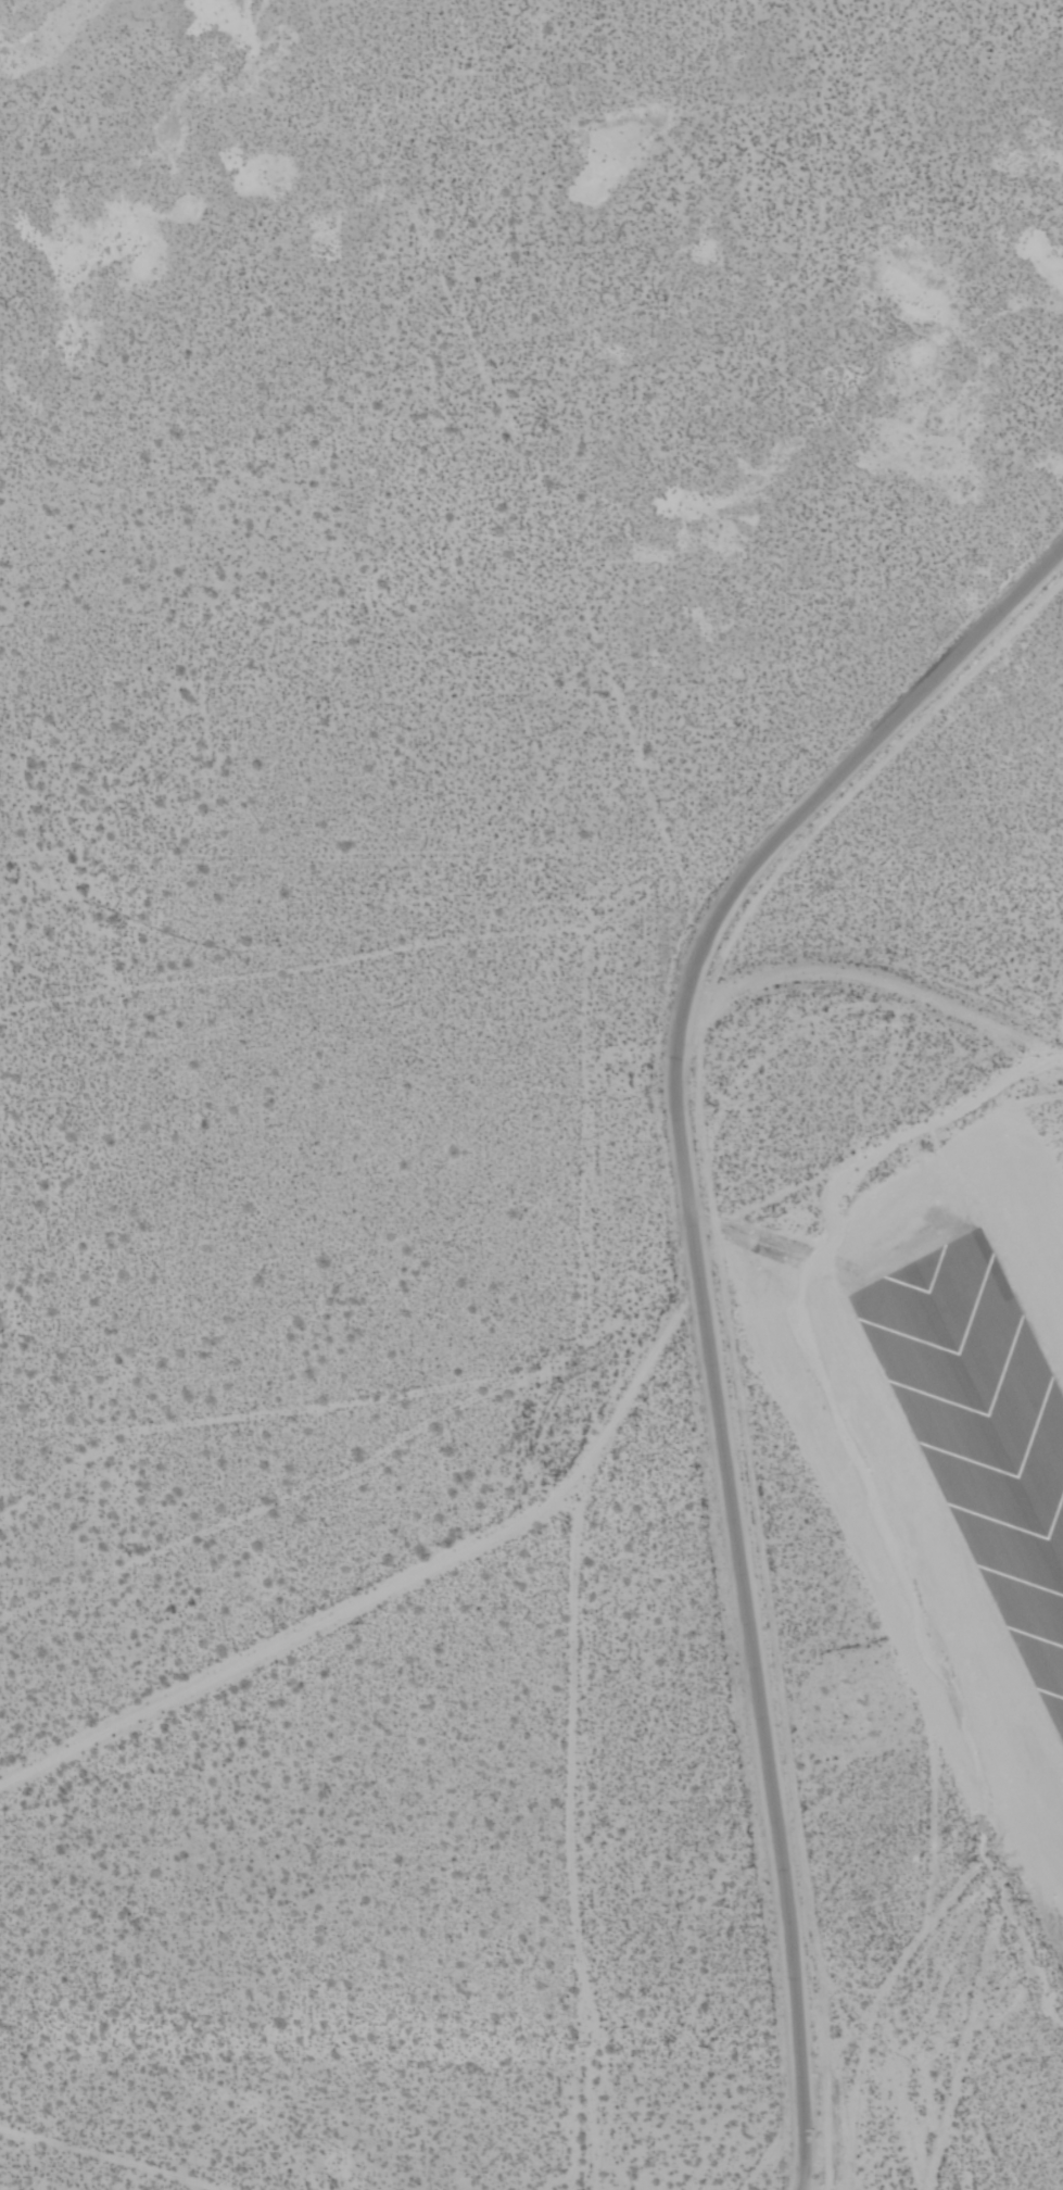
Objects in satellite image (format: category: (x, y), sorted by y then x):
airport: (531, 1095)
road: (701, 1298)

